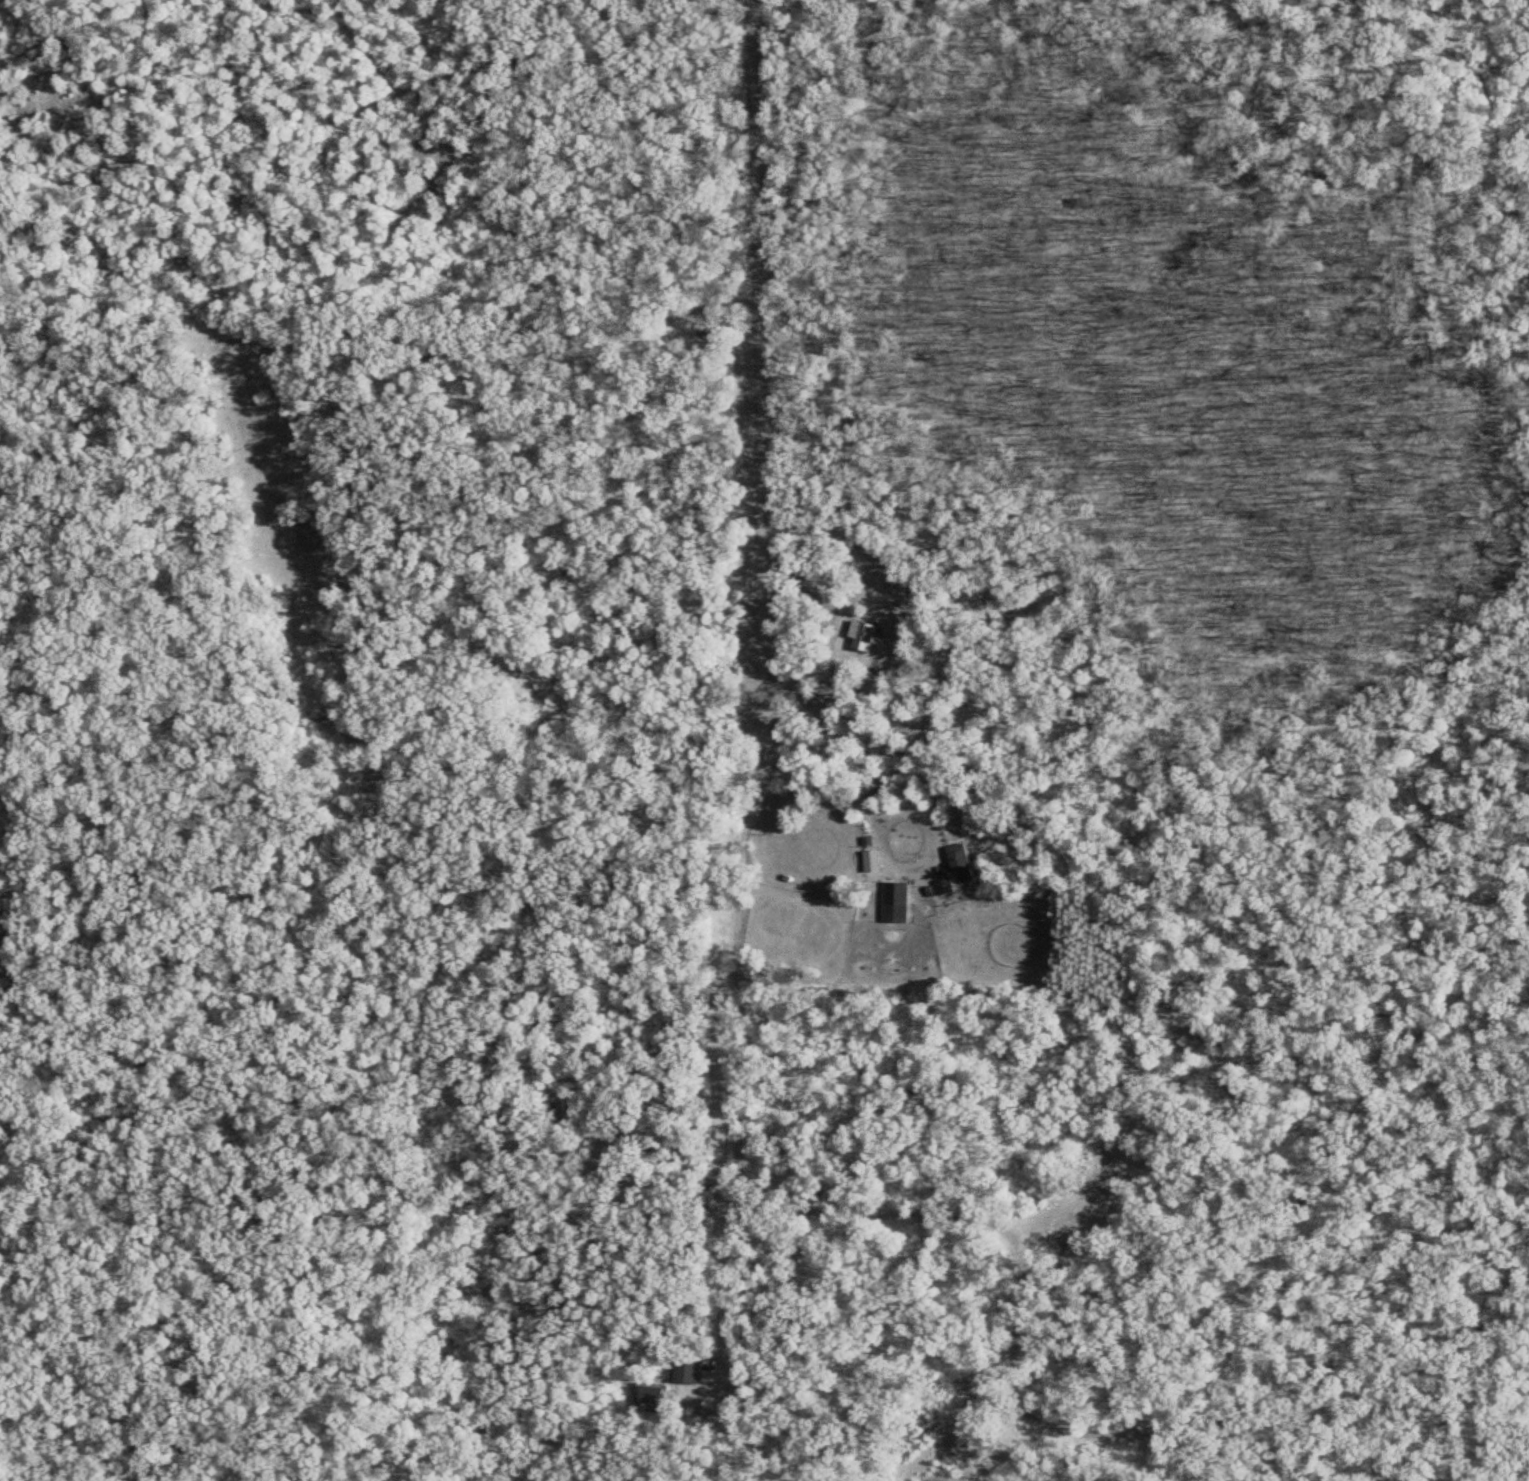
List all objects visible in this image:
building: (860, 636)
road: (753, 707)
road: (898, 813)
building: (870, 862)
building: (958, 863)
building: (943, 887)
building: (893, 903)
building: (682, 1369)
building: (647, 1394)

